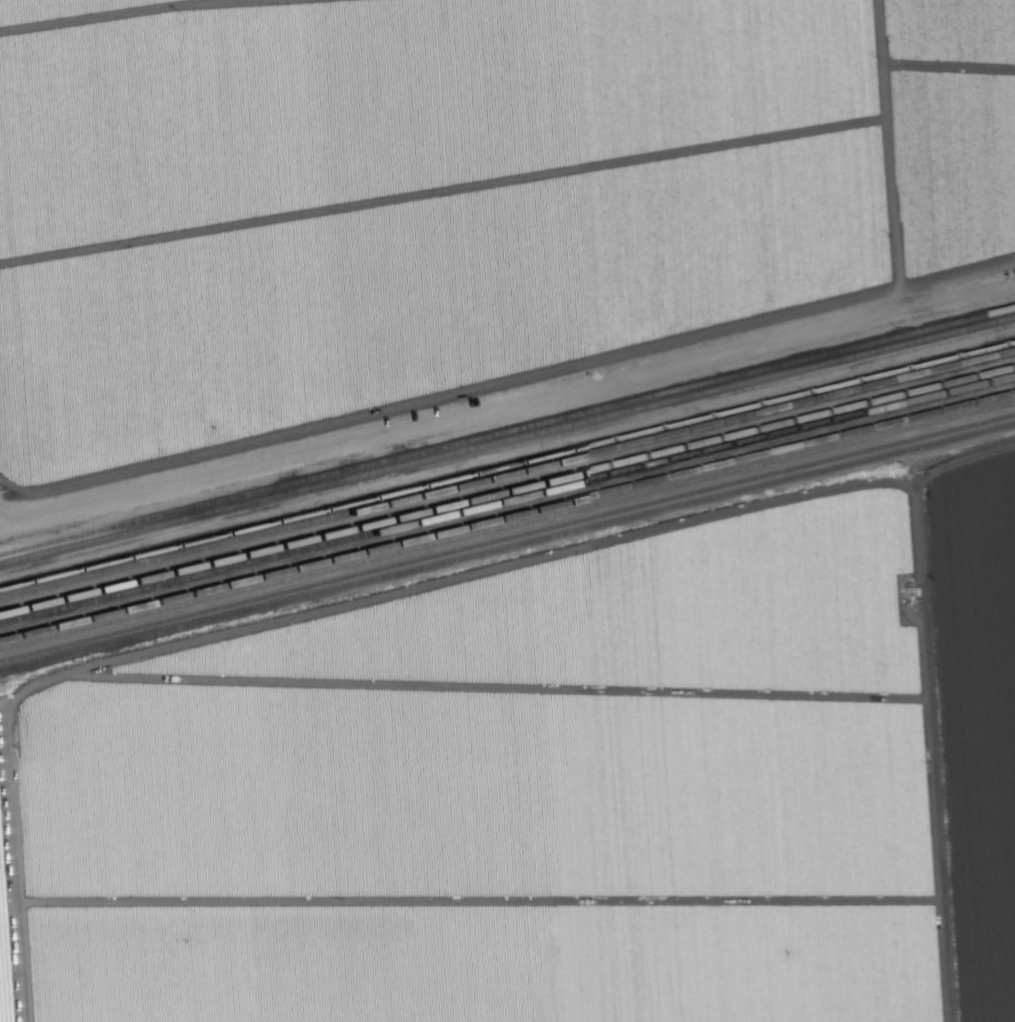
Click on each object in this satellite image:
crop: (453, 199)
railway: (507, 431)
railway: (507, 439)
railway: (507, 466)
railway: (507, 474)
railway: (507, 492)
railway: (507, 501)
railway: (507, 516)
railway: (507, 524)
railway: (507, 537)
railway: (507, 547)
crop: (554, 789)
road: (21, 856)

